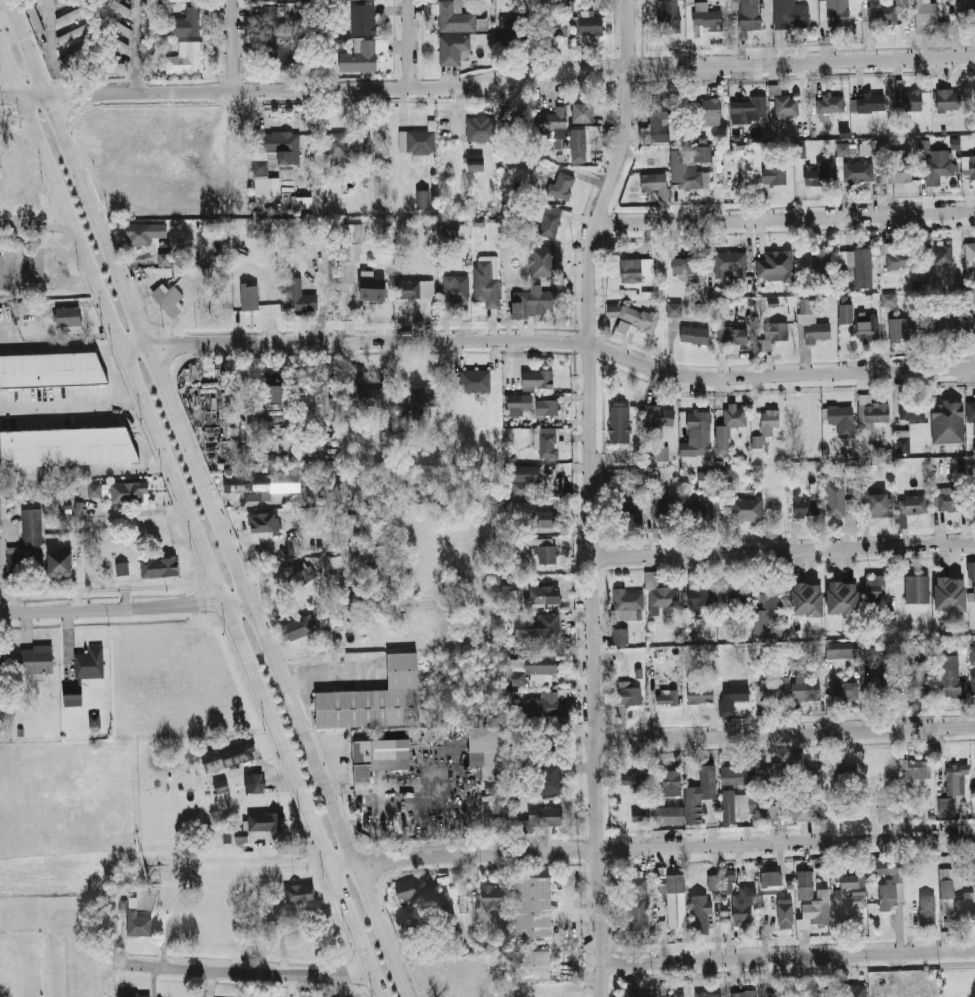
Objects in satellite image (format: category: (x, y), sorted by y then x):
building: (180, 0)
building: (288, 0)
building: (349, 0)
building: (576, 1)
road: (48, 6)
building: (118, 6)
building: (966, 11)
road: (6, 12)
building: (834, 12)
building: (881, 12)
building: (747, 14)
building: (791, 14)
building: (926, 14)
building: (73, 15)
building: (669, 15)
building: (455, 17)
building: (706, 17)
building: (35, 18)
building: (365, 18)
building: (276, 22)
building: (187, 23)
building: (117, 25)
building: (553, 25)
building: (589, 25)
building: (517, 27)
building: (74, 34)
road: (24, 38)
traffic signals: (24, 38)
road: (33, 39)
building: (119, 44)
road: (411, 44)
road: (235, 46)
road: (136, 47)
building: (454, 48)
building: (79, 55)
building: (280, 56)
building: (363, 56)
building: (187, 57)
building: (116, 67)
road: (36, 76)
road: (487, 81)
road: (490, 96)
building: (948, 100)
building: (908, 101)
building: (871, 102)
building: (832, 104)
building: (786, 106)
building: (586, 108)
building: (748, 108)
building: (705, 112)
building: (551, 122)
building: (516, 124)
building: (656, 127)
building: (481, 128)
building: (578, 141)
building: (279, 143)
building: (418, 144)
building: (348, 145)
building: (842, 149)
building: (864, 149)
building: (800, 151)
building: (475, 165)
building: (898, 166)
building: (938, 166)
building: (969, 167)
building: (655, 169)
building: (691, 169)
building: (854, 171)
building: (773, 174)
building: (815, 175)
building: (732, 177)
building: (655, 184)
building: (560, 185)
building: (424, 198)
building: (301, 202)
road: (786, 219)
building: (550, 220)
road: (36, 225)
building: (451, 227)
building: (144, 232)
building: (353, 242)
building: (970, 253)
building: (939, 255)
building: (897, 258)
building: (164, 259)
building: (541, 261)
building: (730, 263)
building: (819, 263)
building: (35, 264)
building: (687, 265)
building: (775, 267)
building: (863, 268)
building: (631, 270)
road: (61, 271)
building: (0, 272)
building: (487, 280)
building: (414, 284)
building: (374, 286)
building: (456, 288)
building: (250, 297)
building: (301, 298)
building: (892, 298)
building: (169, 299)
building: (533, 302)
building: (674, 310)
building: (845, 313)
building: (68, 316)
building: (638, 318)
building: (812, 323)
building: (974, 323)
building: (867, 326)
building: (945, 326)
building: (903, 328)
building: (776, 331)
building: (694, 335)
building: (733, 336)
road: (550, 340)
road: (54, 346)
building: (53, 369)
building: (349, 377)
building: (525, 379)
building: (475, 380)
building: (272, 394)
building: (362, 397)
building: (425, 399)
road: (71, 401)
building: (518, 404)
building: (549, 406)
building: (873, 410)
building: (911, 410)
building: (948, 413)
building: (971, 413)
building: (839, 414)
building: (658, 417)
building: (351, 422)
building: (770, 422)
building: (619, 423)
building: (728, 428)
building: (700, 430)
building: (386, 434)
building: (903, 440)
building: (547, 441)
building: (756, 441)
building: (67, 445)
building: (876, 452)
building: (889, 452)
building: (662, 453)
building: (844, 457)
road: (83, 466)
building: (873, 468)
building: (888, 468)
building: (521, 473)
building: (705, 479)
building: (725, 479)
building: (241, 484)
building: (520, 489)
building: (89, 490)
building: (129, 493)
road: (593, 495)
building: (836, 499)
building: (949, 500)
building: (974, 500)
building: (808, 502)
building: (627, 503)
building: (880, 505)
building: (911, 506)
building: (78, 507)
building: (746, 509)
building: (700, 510)
building: (663, 514)
building: (548, 518)
building: (266, 523)
road: (190, 524)
road: (224, 537)
building: (29, 543)
building: (545, 550)
road: (784, 550)
road: (783, 557)
building: (62, 564)
building: (160, 567)
building: (120, 569)
building: (301, 573)
building: (972, 580)
building: (920, 585)
building: (874, 588)
building: (772, 590)
building: (733, 591)
building: (952, 591)
building: (350, 595)
building: (545, 595)
building: (810, 595)
building: (846, 595)
building: (700, 596)
building: (661, 597)
building: (629, 599)
road: (125, 608)
building: (512, 616)
building: (767, 623)
building: (299, 628)
building: (542, 629)
building: (621, 636)
building: (842, 649)
building: (871, 654)
building: (972, 655)
building: (38, 659)
building: (544, 660)
building: (90, 663)
building: (922, 670)
building: (638, 673)
building: (950, 675)
building: (518, 678)
building: (972, 684)
building: (882, 687)
building: (919, 687)
building: (770, 690)
building: (805, 690)
building: (846, 691)
building: (699, 693)
building: (667, 695)
building: (629, 696)
building: (733, 697)
building: (75, 699)
building: (378, 699)
building: (548, 702)
building: (93, 719)
road: (786, 735)
building: (491, 747)
building: (239, 754)
building: (382, 755)
building: (916, 769)
building: (807, 774)
building: (735, 776)
building: (771, 777)
building: (549, 778)
building: (633, 778)
building: (847, 778)
building: (957, 779)
building: (671, 782)
building: (256, 783)
building: (221, 786)
building: (700, 794)
building: (654, 799)
building: (734, 806)
building: (946, 807)
building: (772, 810)
building: (804, 811)
building: (638, 814)
building: (666, 814)
building: (543, 816)
building: (264, 822)
road: (653, 849)
building: (770, 876)
building: (728, 881)
building: (714, 886)
building: (409, 890)
building: (299, 894)
building: (676, 895)
building: (887, 897)
building: (491, 898)
building: (637, 900)
building: (810, 900)
building: (956, 900)
building: (442, 901)
building: (745, 905)
building: (848, 905)
building: (927, 905)
building: (534, 906)
building: (271, 912)
building: (784, 913)
building: (700, 915)
building: (139, 924)
building: (181, 929)
road: (789, 957)
building: (533, 965)
road: (247, 971)
building: (632, 990)
building: (854, 990)
building: (820, 991)
building: (560, 994)
building: (673, 994)
building: (708, 994)
building: (744, 994)
building: (781, 994)
building: (135, 995)

